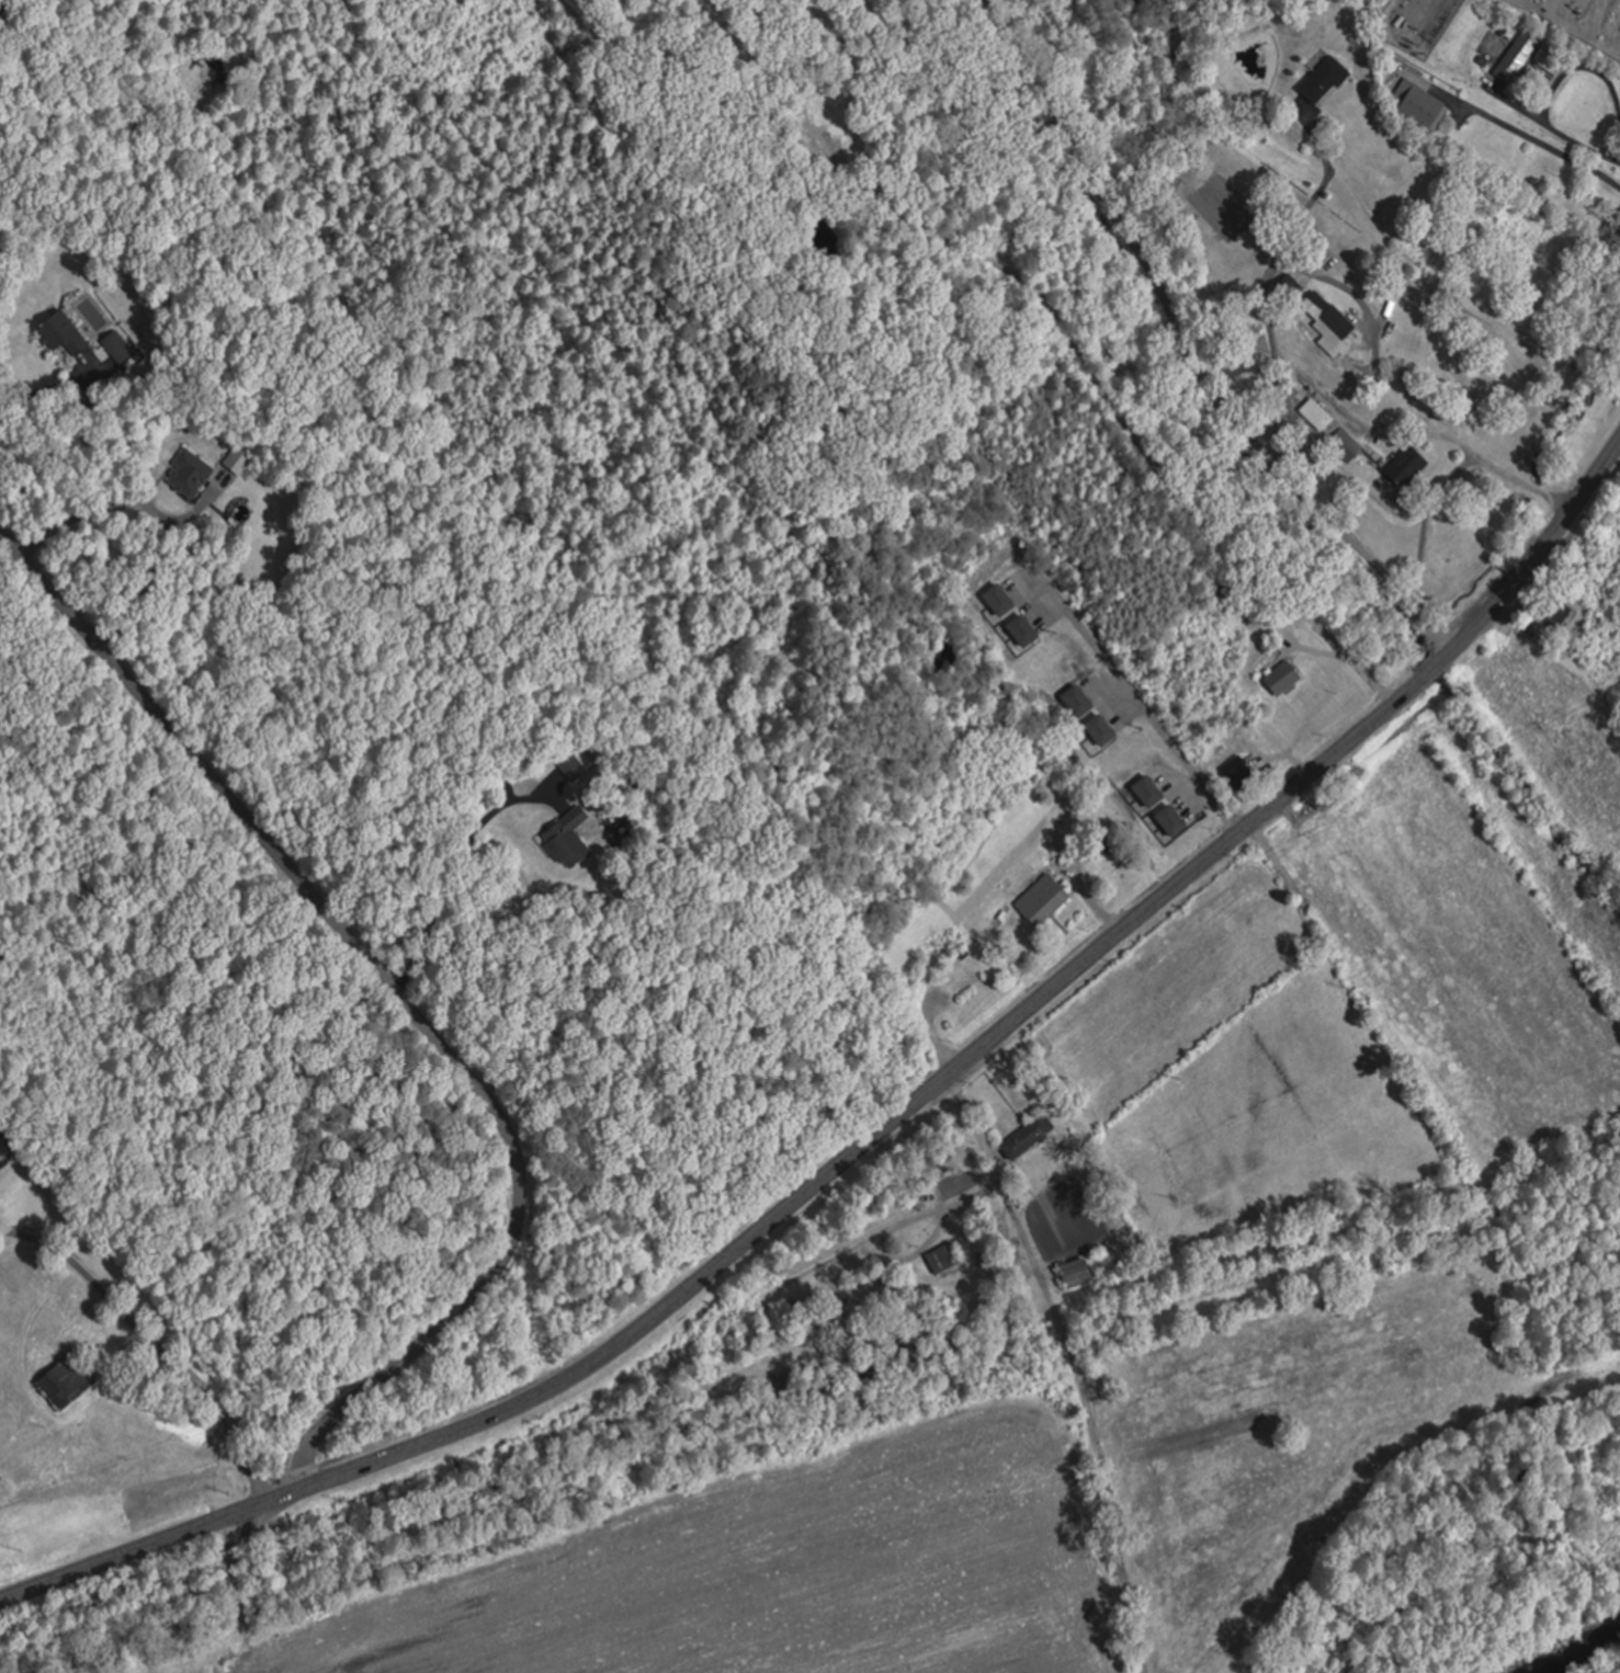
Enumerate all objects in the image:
building: (1171, 43)
building: (1516, 58)
building: (1322, 81)
building: (1417, 105)
road: (1514, 126)
building: (814, 137)
building: (1615, 226)
building: (1289, 285)
building: (1329, 320)
building: (60, 332)
building: (116, 346)
road: (1187, 346)
building: (1345, 444)
building: (1403, 465)
building: (186, 473)
building: (1552, 611)
building: (1278, 674)
building: (1235, 771)
building: (567, 838)
building: (1102, 844)
building: (1041, 899)
road: (400, 999)
road: (882, 1127)
building: (1026, 1136)
road: (181, 1259)
building: (940, 1259)
building: (1074, 1273)
building: (65, 1380)
river: (1571, 1653)

